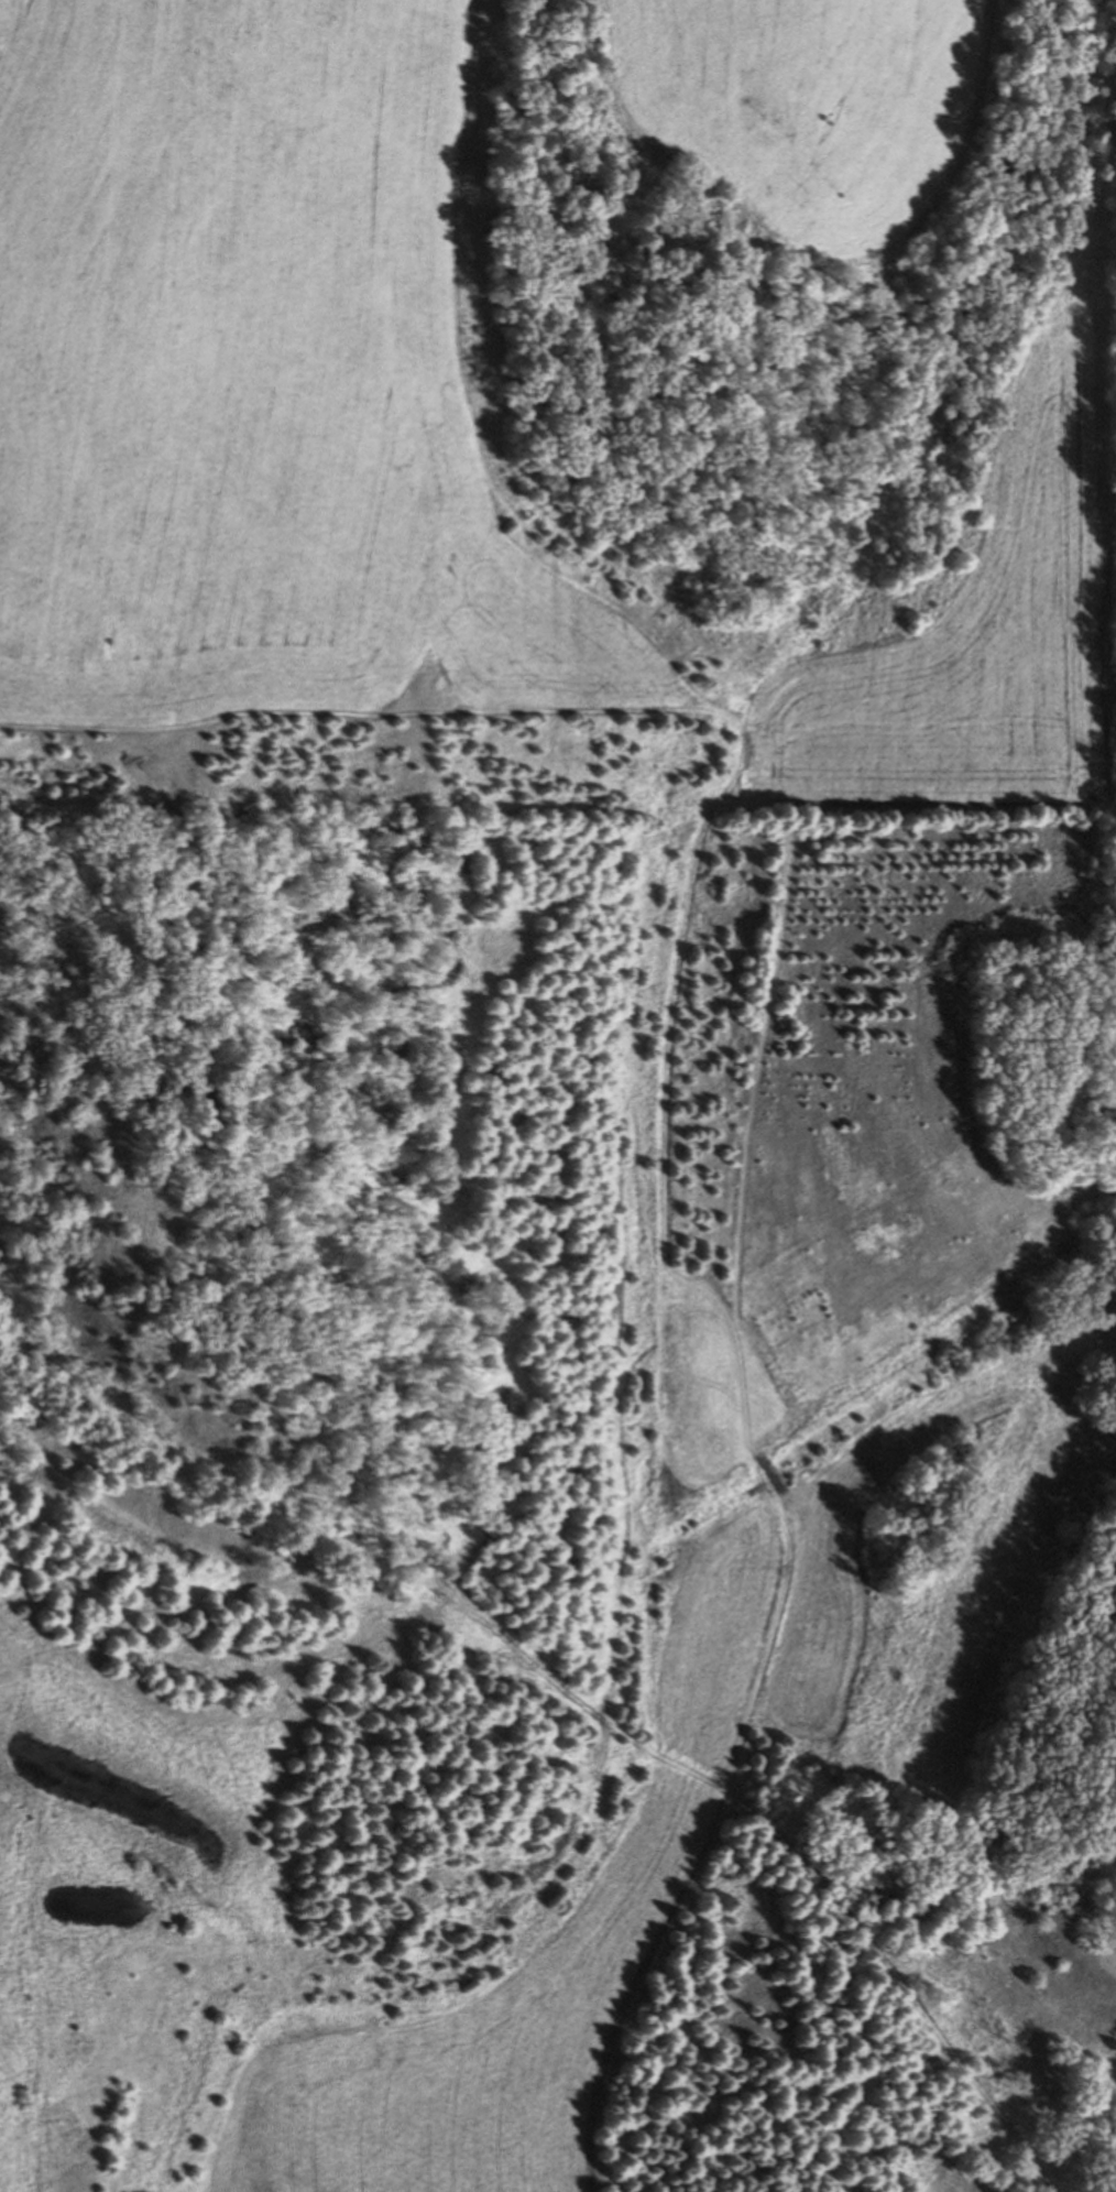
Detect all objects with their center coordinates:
road: (916, 2004)

